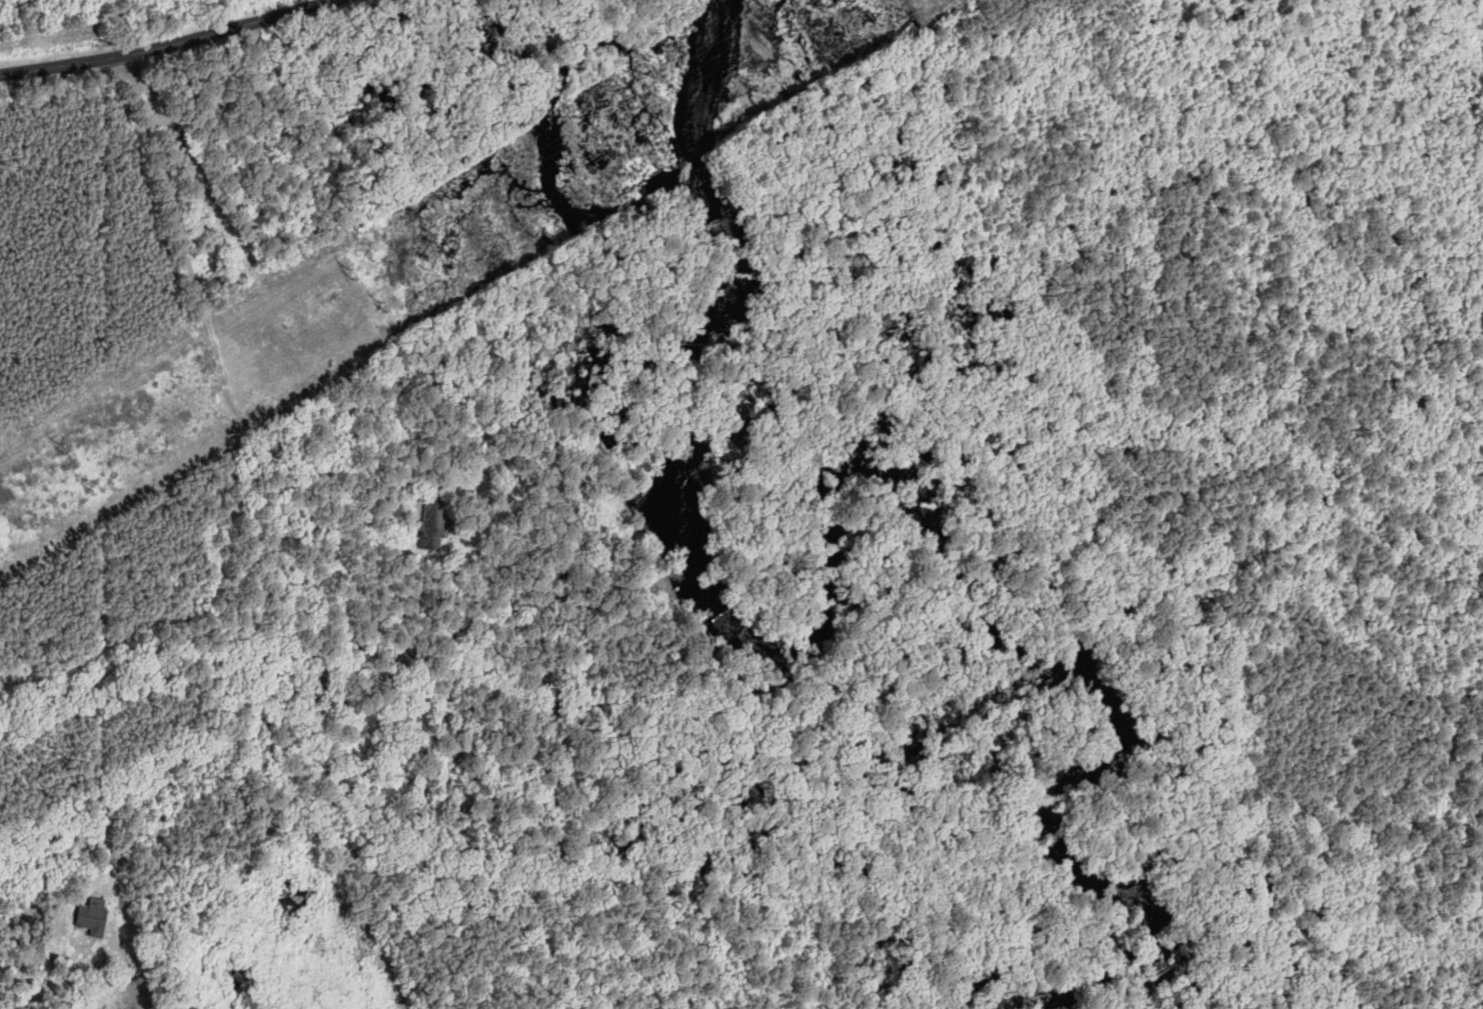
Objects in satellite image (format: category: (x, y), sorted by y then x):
power tower: (792, 9)
road: (167, 46)
power tower: (751, 88)
power tower: (353, 273)
power tower: (386, 324)
power tower: (61, 445)
power tower: (89, 483)
building: (436, 524)
river: (759, 652)

